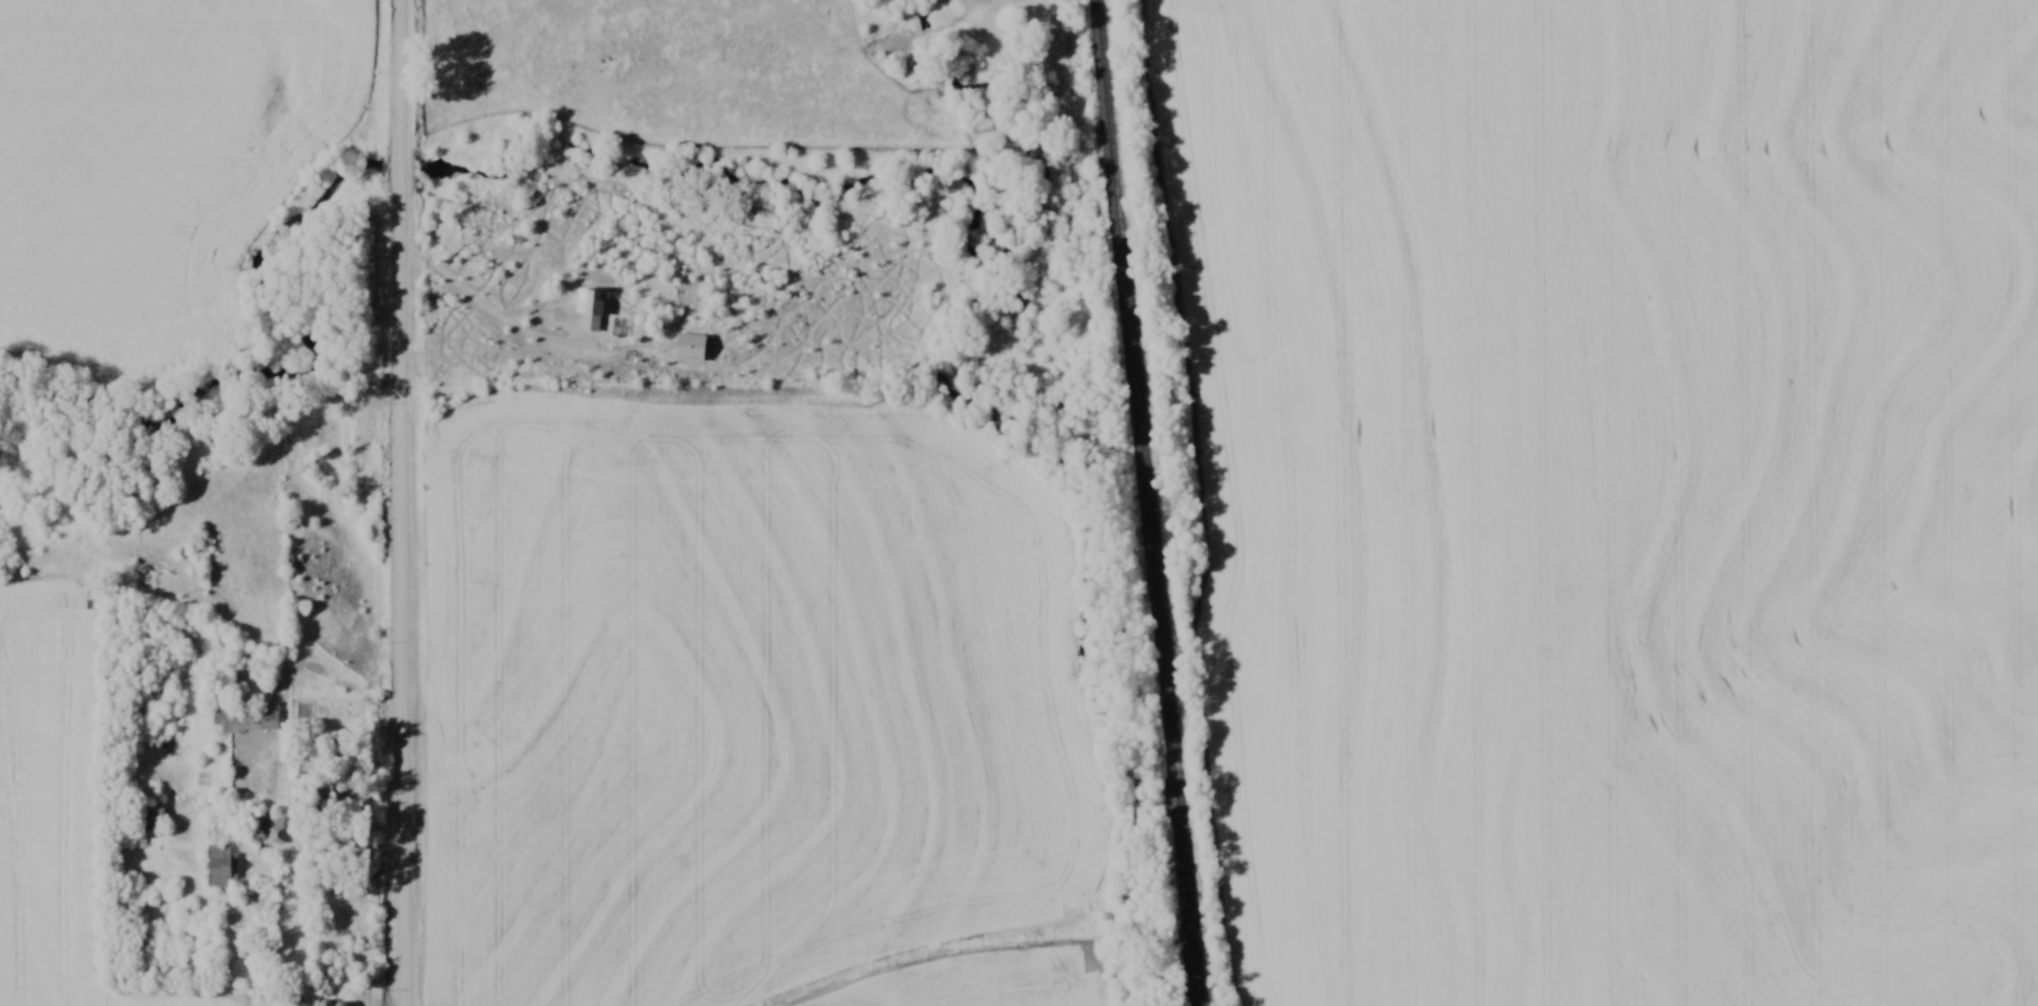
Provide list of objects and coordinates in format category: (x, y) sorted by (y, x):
building: (590, 309)
road: (489, 310)
building: (690, 344)
road: (405, 502)
railway: (1153, 503)
building: (246, 719)
building: (332, 793)
building: (275, 829)
road: (326, 849)
building: (219, 866)

